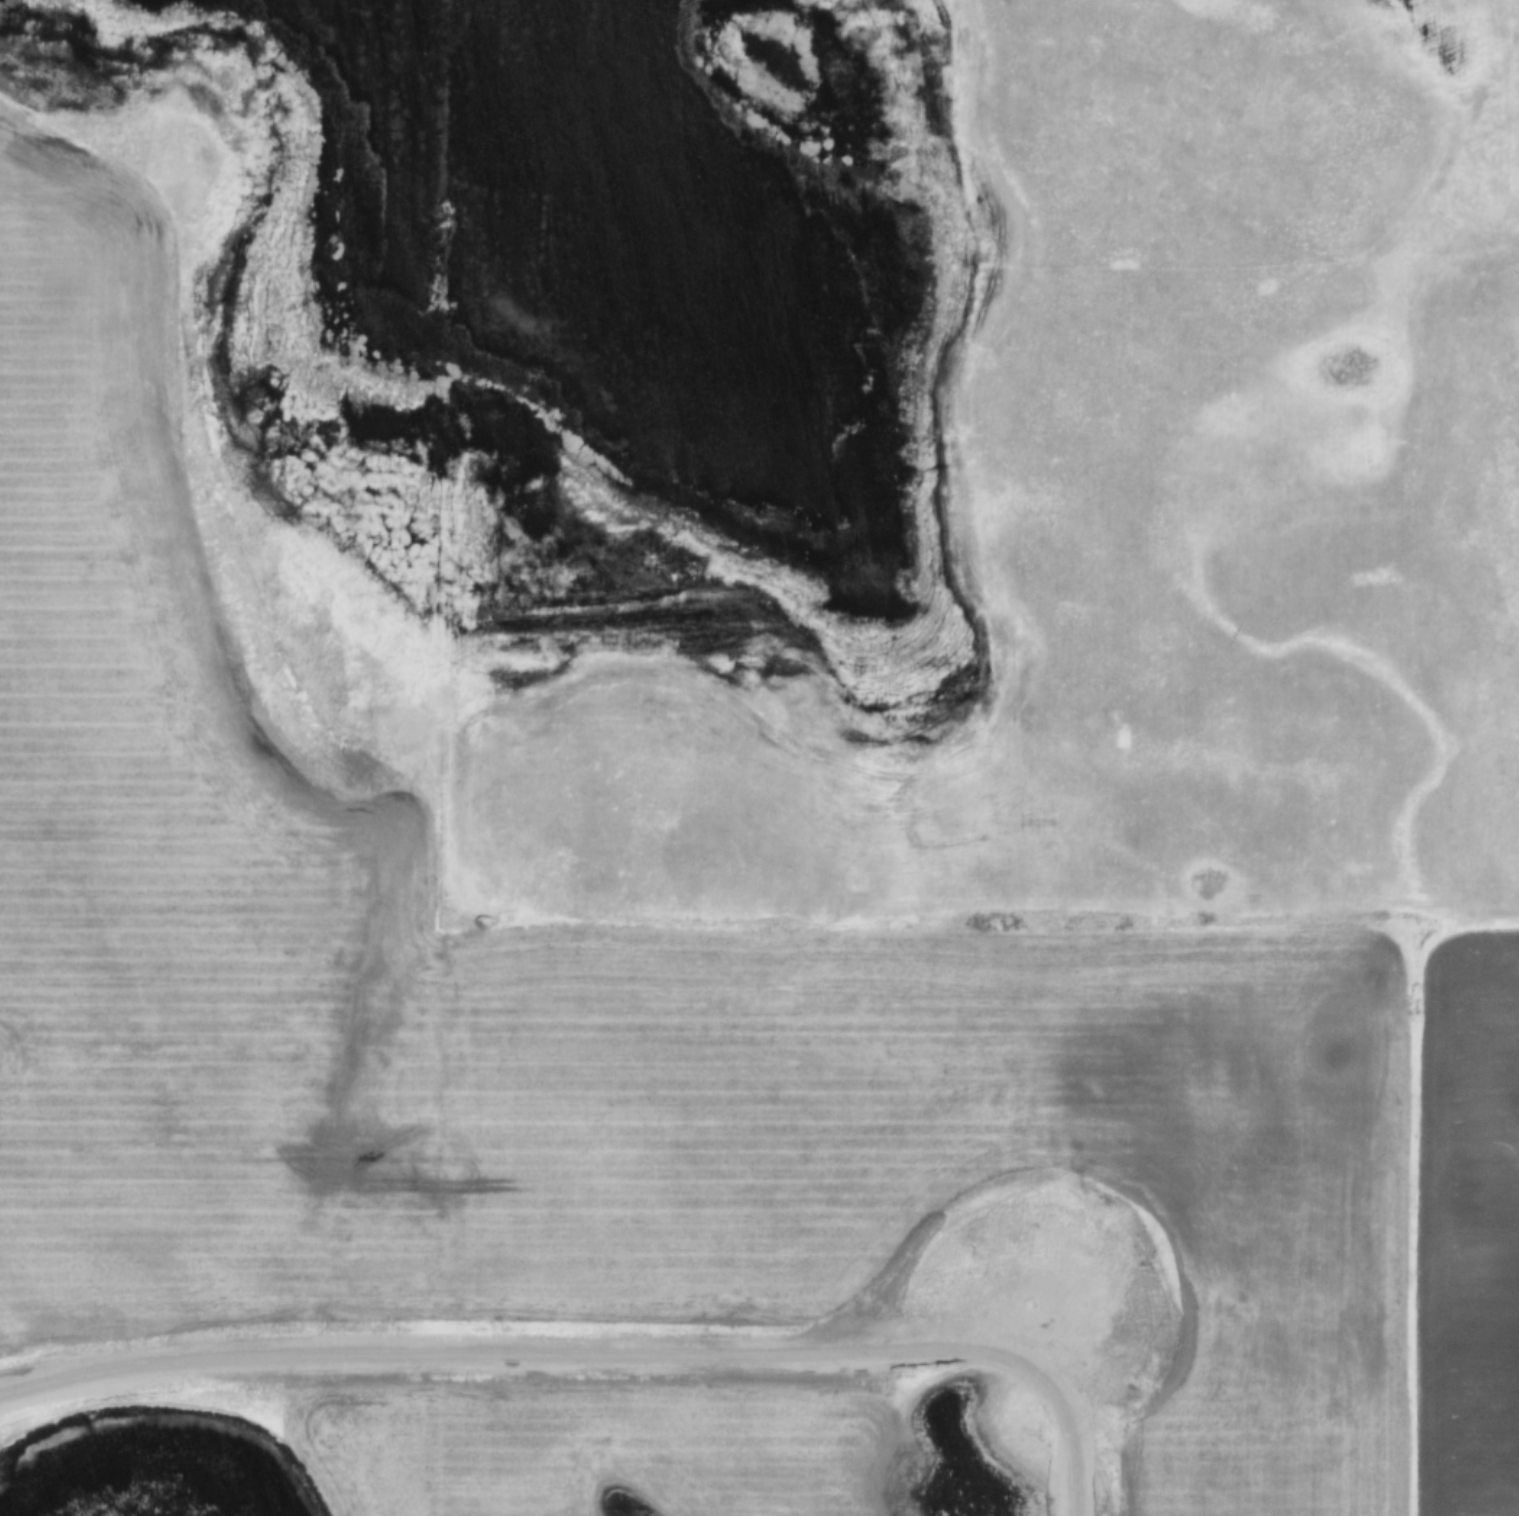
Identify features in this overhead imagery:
wind turbine: (1040, 1305)

